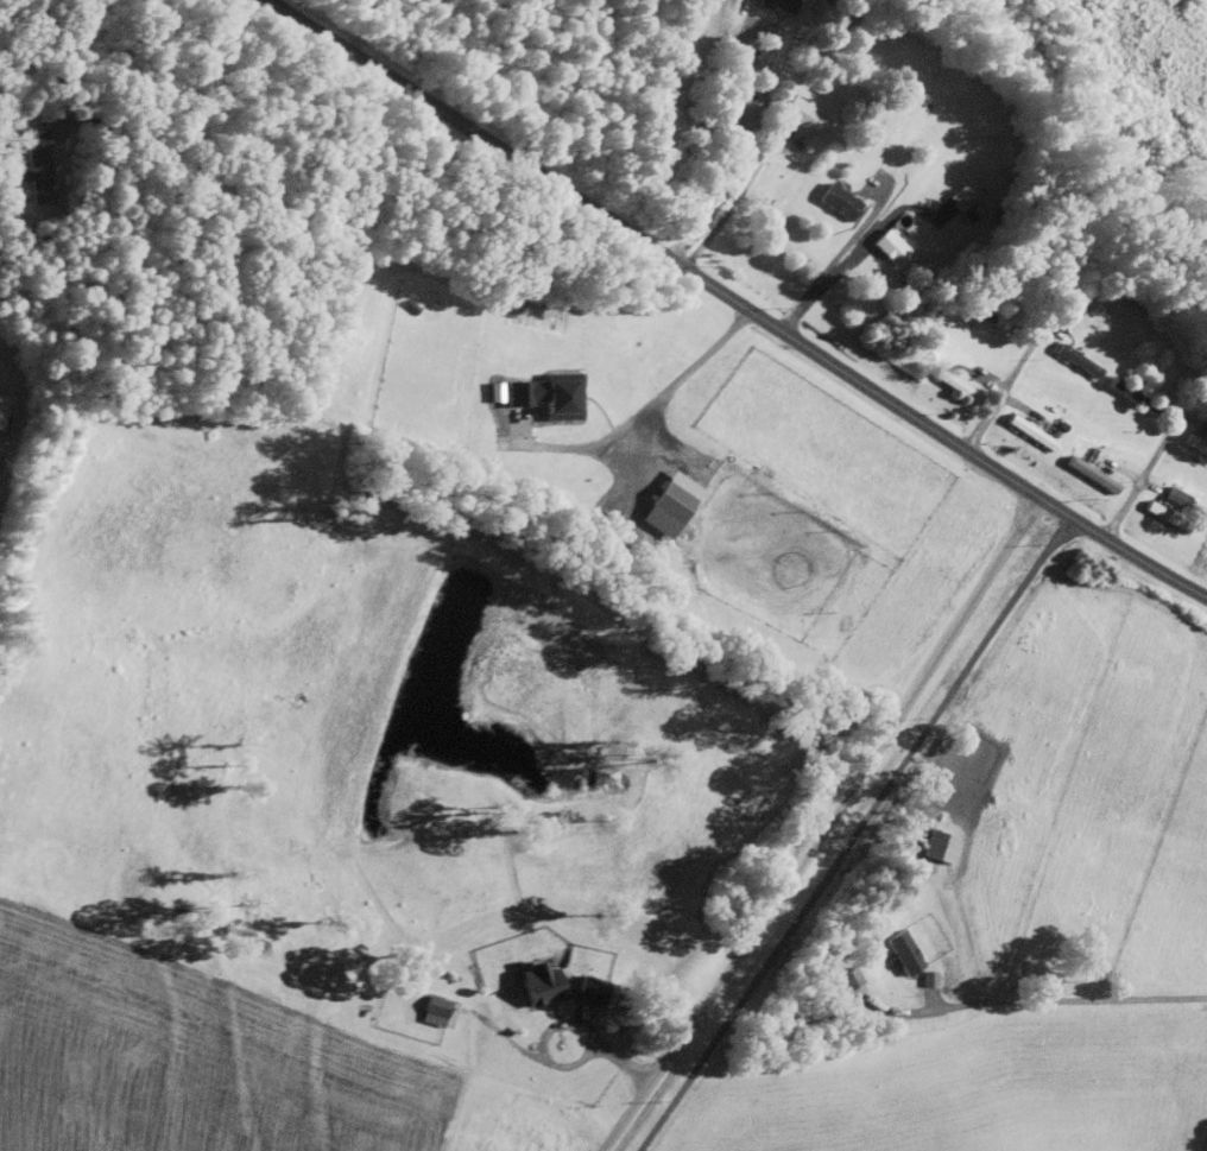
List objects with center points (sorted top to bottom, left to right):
building: (775, 4)
road: (59, 61)
building: (21, 108)
building: (803, 114)
building: (866, 132)
road: (734, 152)
building: (36, 173)
building: (960, 195)
building: (838, 200)
road: (729, 207)
building: (892, 248)
road: (828, 261)
road: (826, 279)
road: (733, 303)
building: (1075, 359)
road: (1005, 385)
building: (546, 394)
building: (1133, 396)
building: (1, 403)
road: (643, 410)
building: (1029, 430)
building: (1177, 498)
building: (668, 502)
building: (1165, 514)
road: (824, 827)
road: (853, 833)
building: (904, 949)
building: (930, 975)
building: (849, 976)
building: (536, 980)
building: (588, 986)
road: (1032, 998)
building: (432, 1007)
road: (560, 1023)
road: (1206, 1144)

